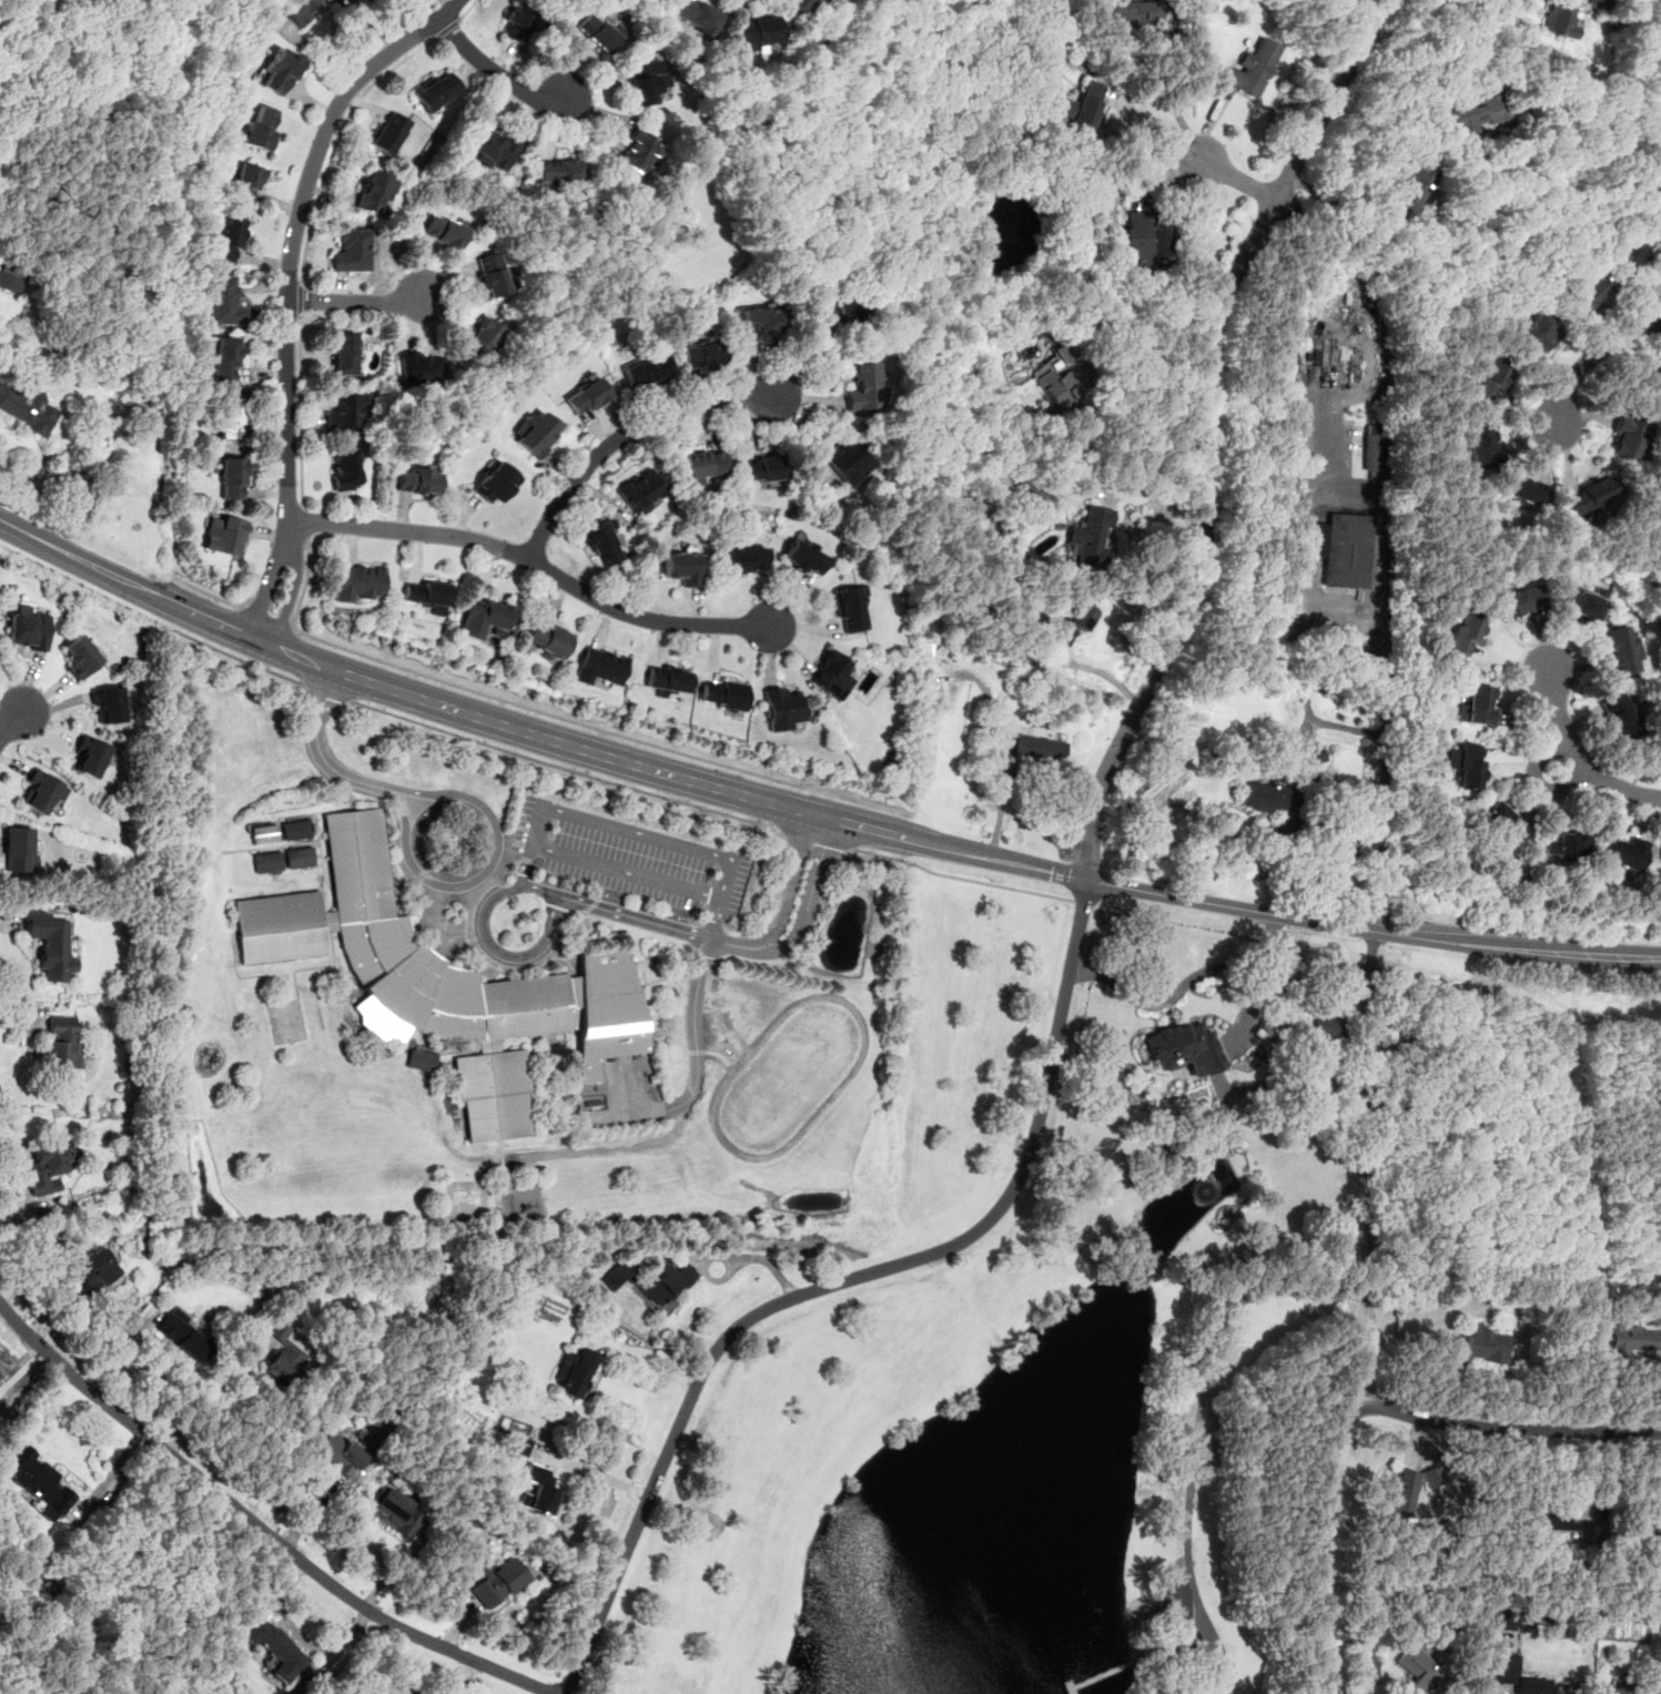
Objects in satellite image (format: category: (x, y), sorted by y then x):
building: (1596, 3)
building: (802, 6)
road: (466, 9)
building: (298, 10)
building: (1126, 13)
building: (695, 14)
building: (1558, 19)
building: (516, 21)
road: (446, 28)
building: (596, 31)
building: (757, 32)
road: (489, 67)
building: (1252, 67)
building: (278, 71)
building: (647, 80)
road: (1400, 81)
building: (434, 91)
road: (1171, 103)
building: (1083, 108)
building: (1473, 113)
building: (260, 128)
road: (1155, 129)
building: (388, 131)
road: (335, 140)
building: (490, 149)
building: (639, 152)
building: (557, 172)
building: (246, 182)
road: (1255, 187)
building: (1412, 190)
building: (374, 192)
building: (1651, 197)
building: (442, 230)
building: (1136, 239)
building: (226, 240)
building: (1628, 247)
building: (351, 250)
building: (490, 274)
building: (11, 277)
road: (285, 291)
building: (1583, 295)
road: (298, 297)
building: (220, 301)
road: (353, 301)
building: (837, 311)
building: (761, 319)
building: (1533, 334)
building: (482, 338)
building: (343, 353)
road: (1590, 355)
building: (700, 356)
building: (224, 358)
building: (423, 367)
building: (644, 369)
building: (1053, 376)
building: (1489, 378)
building: (1650, 384)
building: (864, 387)
building: (586, 397)
building: (26, 406)
road: (298, 410)
building: (345, 412)
building: (230, 416)
road: (1145, 426)
road: (1208, 432)
building: (533, 433)
road: (620, 435)
building: (1624, 438)
building: (1479, 445)
building: (1373, 447)
building: (848, 461)
building: (703, 466)
building: (761, 468)
building: (345, 469)
building: (232, 478)
building: (417, 480)
building: (495, 483)
building: (641, 490)
building: (1522, 490)
building: (1589, 496)
road: (1162, 499)
road: (304, 523)
building: (224, 534)
building: (1090, 537)
building: (601, 542)
building: (1341, 548)
building: (803, 556)
building: (742, 559)
road: (533, 561)
building: (681, 567)
building: (358, 581)
building: (426, 594)
road: (212, 595)
building: (1518, 600)
building: (1580, 605)
building: (849, 609)
road: (267, 617)
building: (484, 617)
road: (150, 618)
building: (1075, 621)
building: (30, 630)
building: (1463, 632)
building: (548, 638)
building: (1620, 650)
building: (81, 656)
building: (599, 666)
building: (831, 674)
building: (666, 679)
road: (326, 692)
building: (723, 694)
building: (109, 703)
building: (1476, 704)
building: (782, 709)
road: (554, 713)
building: (1618, 716)
road: (10, 724)
building: (1039, 749)
road: (1385, 750)
building: (90, 754)
road: (1577, 755)
road: (325, 762)
building: (1466, 764)
road: (567, 769)
building: (42, 791)
building: (1266, 797)
road: (559, 809)
road: (810, 812)
building: (1502, 821)
building: (295, 829)
building: (263, 833)
road: (1308, 838)
road: (818, 841)
building: (1562, 845)
building: (18, 848)
building: (1620, 852)
building: (298, 856)
building: (267, 862)
road: (524, 866)
road: (479, 868)
road: (962, 878)
road: (788, 886)
road: (1084, 902)
road: (808, 904)
road: (651, 922)
road: (483, 942)
building: (49, 945)
road: (1263, 978)
building: (444, 981)
road: (1169, 995)
building: (1313, 1024)
building: (60, 1042)
building: (1183, 1048)
building: (421, 1061)
road: (696, 1061)
building: (48, 1166)
road: (1367, 1168)
building: (92, 1269)
building: (617, 1276)
building: (665, 1281)
road: (840, 1281)
building: (181, 1333)
building: (1629, 1339)
building: (1477, 1345)
road: (121, 1350)
building: (283, 1353)
road: (648, 1360)
road: (1206, 1365)
building: (575, 1372)
road: (211, 1389)
road: (1521, 1428)
building: (521, 1444)
building: (328, 1452)
road: (591, 1471)
building: (1431, 1475)
building: (38, 1480)
building: (539, 1489)
building: (1401, 1493)
building: (395, 1512)
road: (259, 1525)
building: (1561, 1525)
building: (1648, 1526)
road: (1321, 1533)
building: (496, 1581)
building: (1175, 1605)
building: (1497, 1620)
building: (277, 1650)
building: (1418, 1670)
building: (1509, 1675)
building: (1628, 1691)

